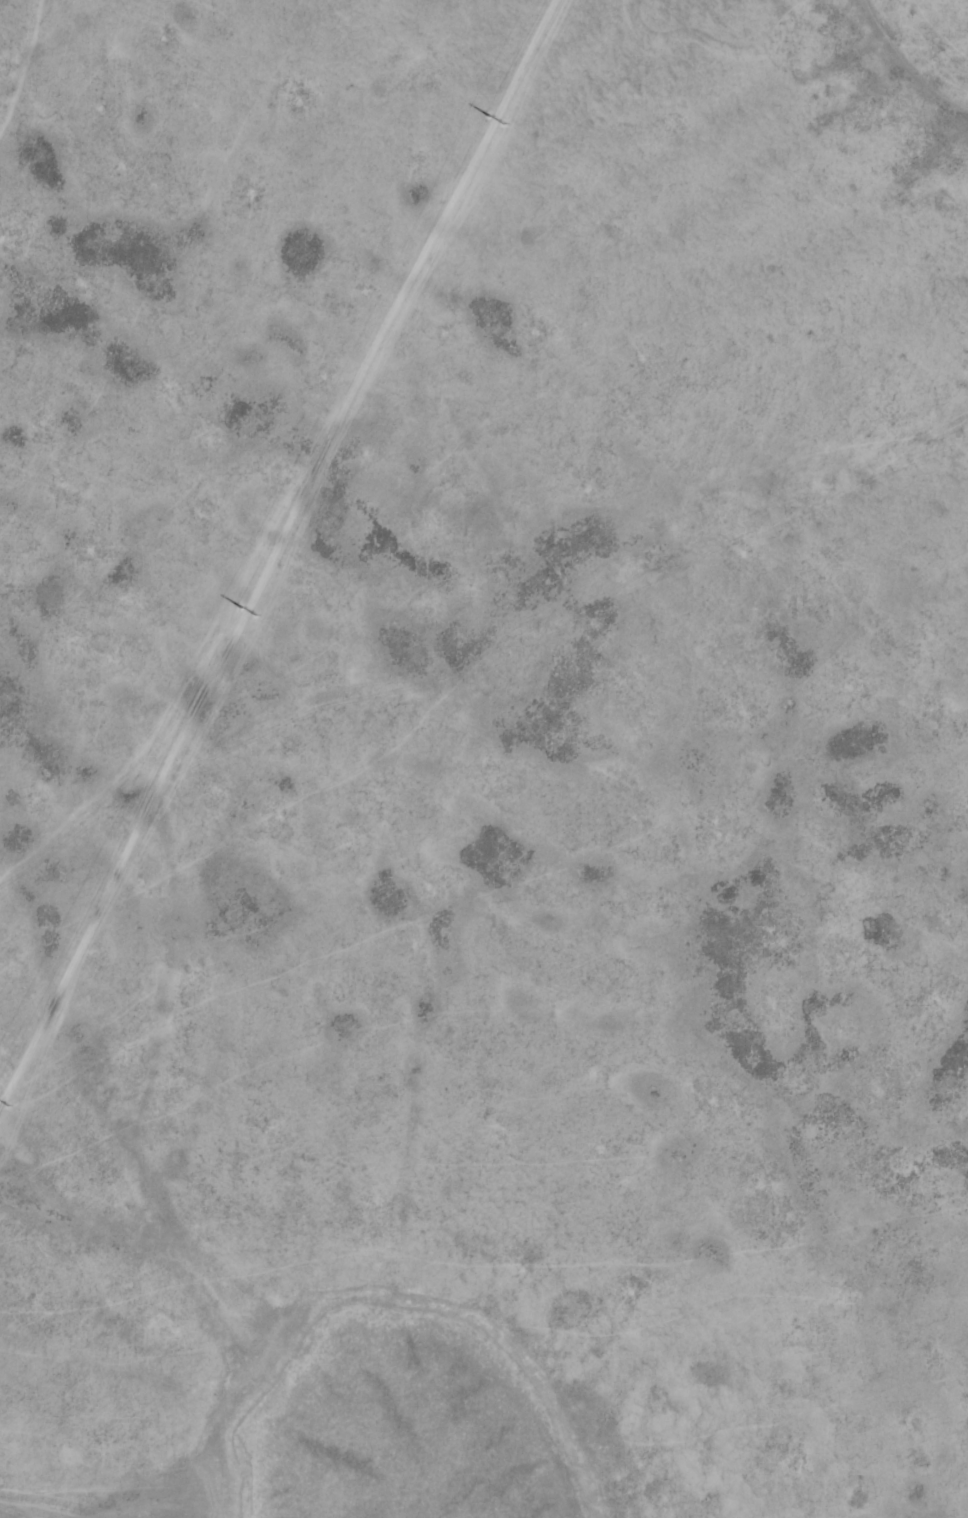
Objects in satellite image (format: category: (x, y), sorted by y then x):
power tower: (492, 118)
power tower: (246, 611)
power tower: (0, 1104)

